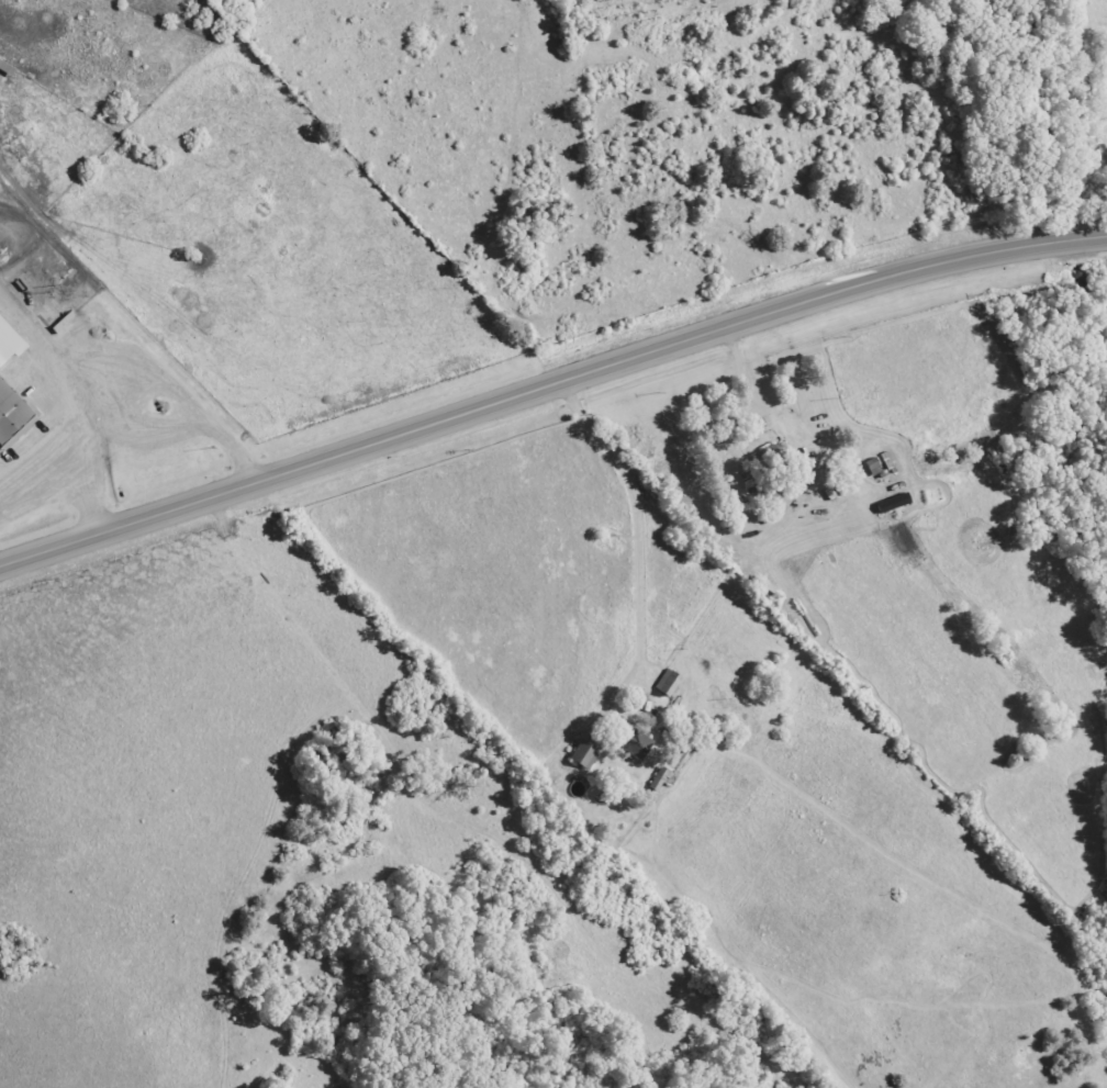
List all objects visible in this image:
building: (9, 344)
road: (550, 390)
building: (12, 416)
building: (772, 457)
road: (627, 517)
building: (669, 683)
building: (638, 743)
building: (585, 755)

